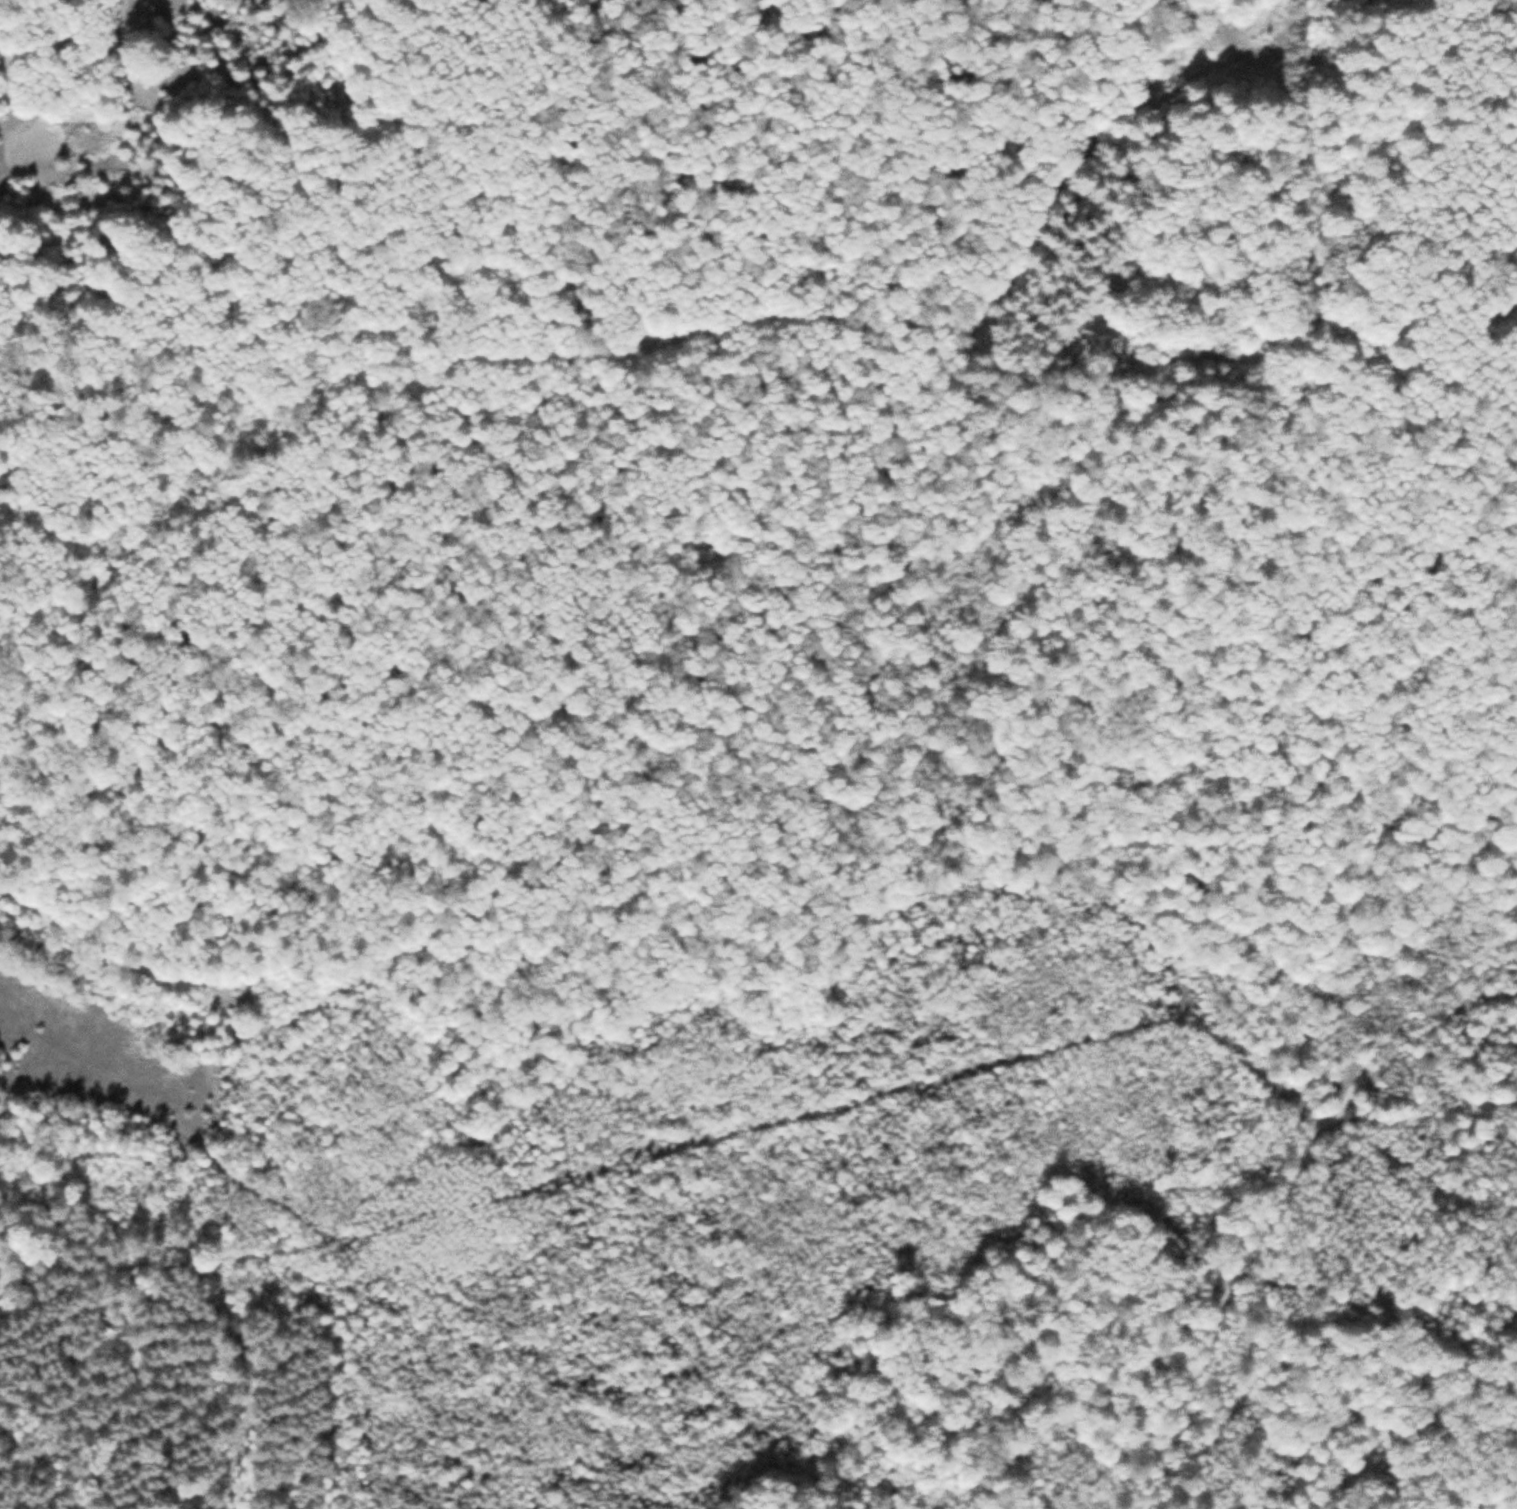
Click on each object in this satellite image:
road: (1287, 1196)

